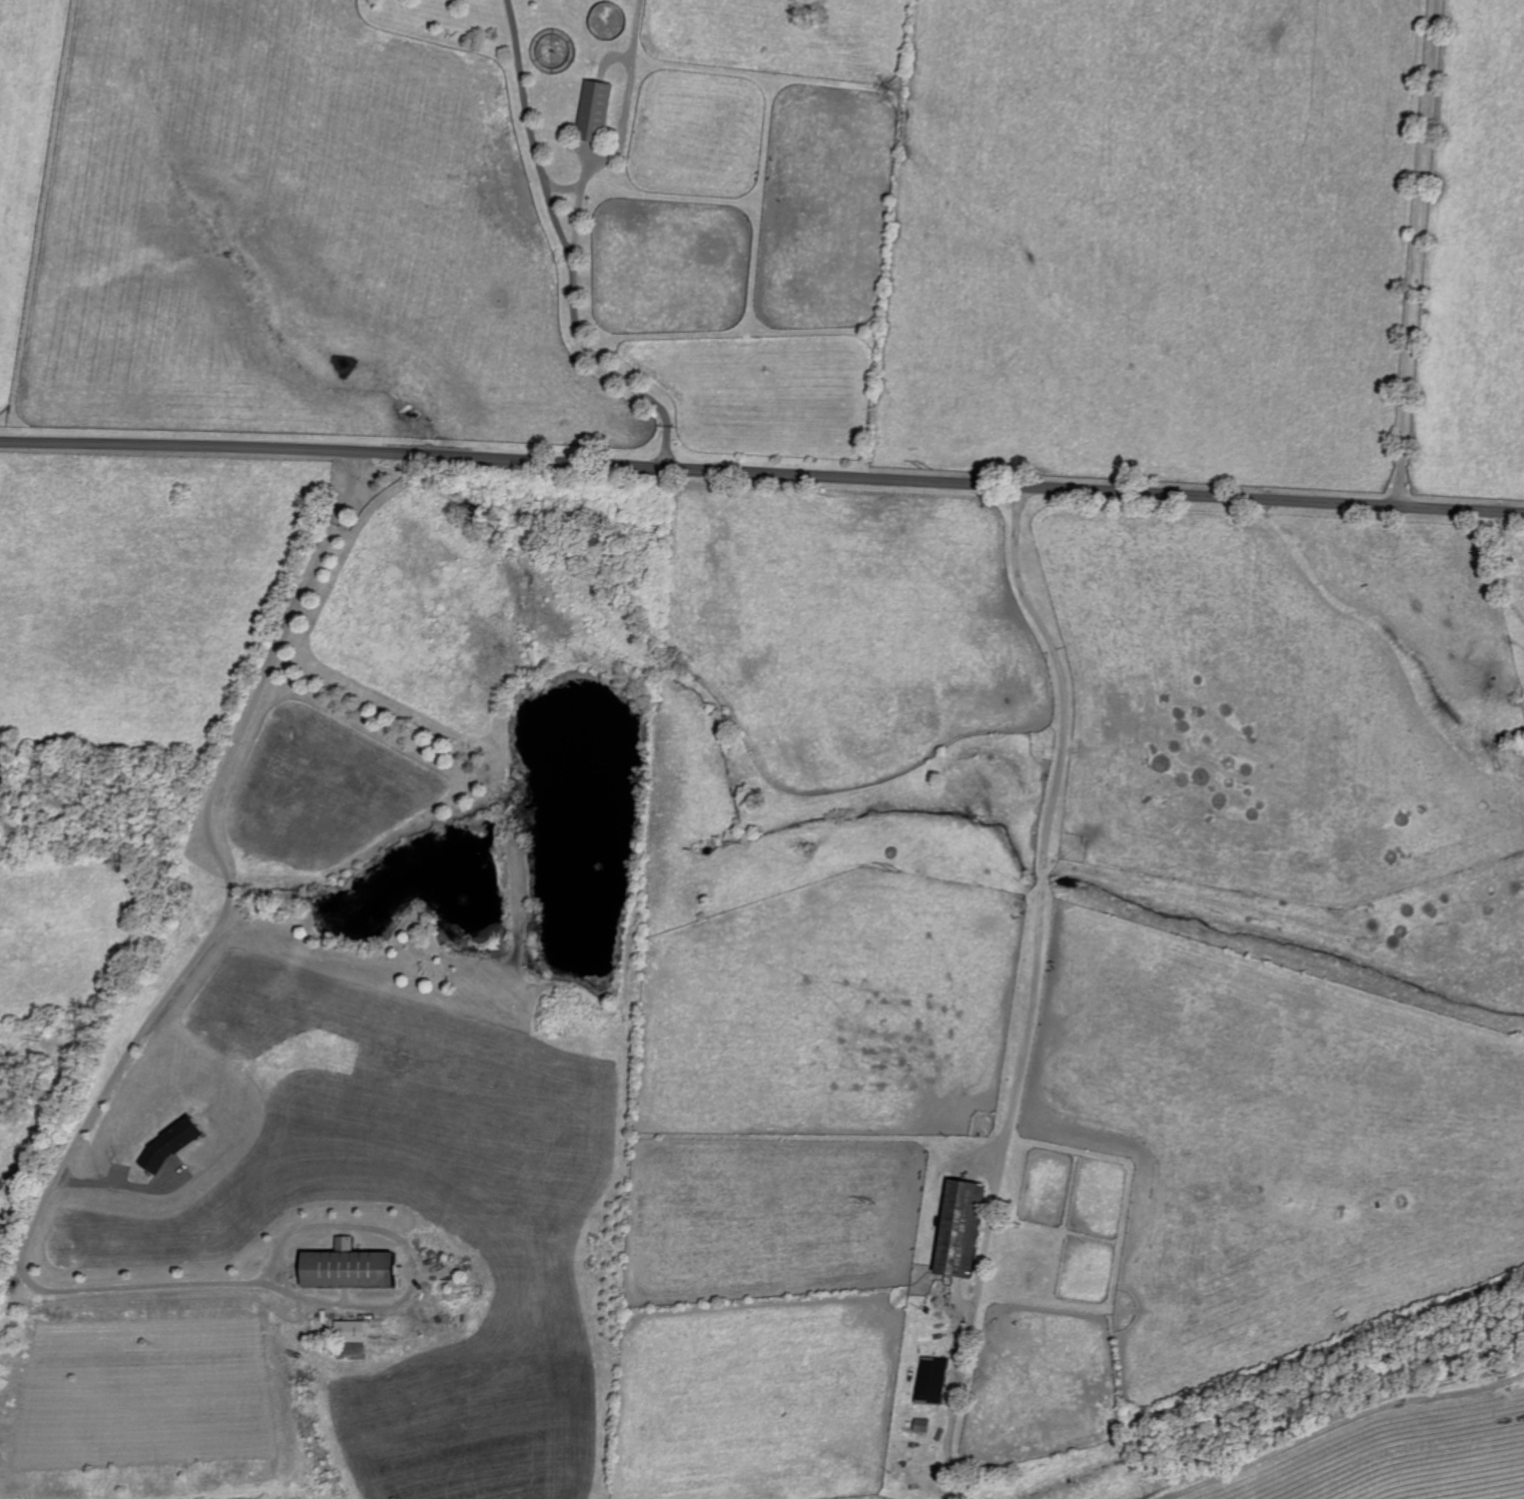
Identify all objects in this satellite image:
road: (523, 88)
building: (598, 110)
road: (625, 120)
road: (578, 220)
road: (1415, 252)
road: (574, 316)
road: (667, 446)
road: (762, 473)
road: (184, 982)
road: (1041, 991)
building: (165, 1145)
road: (120, 1174)
building: (954, 1228)
building: (349, 1337)
building: (928, 1380)
road: (1327, 1425)

